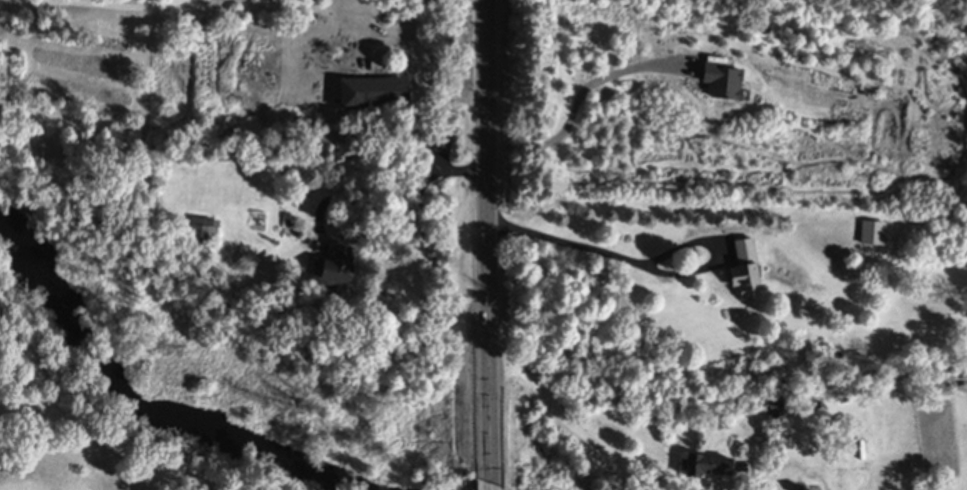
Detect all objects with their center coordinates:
road: (88, 1)
road: (421, 69)
building: (379, 94)
road: (577, 102)
building: (203, 231)
building: (876, 234)
road: (347, 240)
road: (489, 242)
road: (585, 246)
building: (340, 268)
building: (750, 272)
river: (118, 388)
road: (566, 417)
building: (719, 467)
road: (497, 487)

